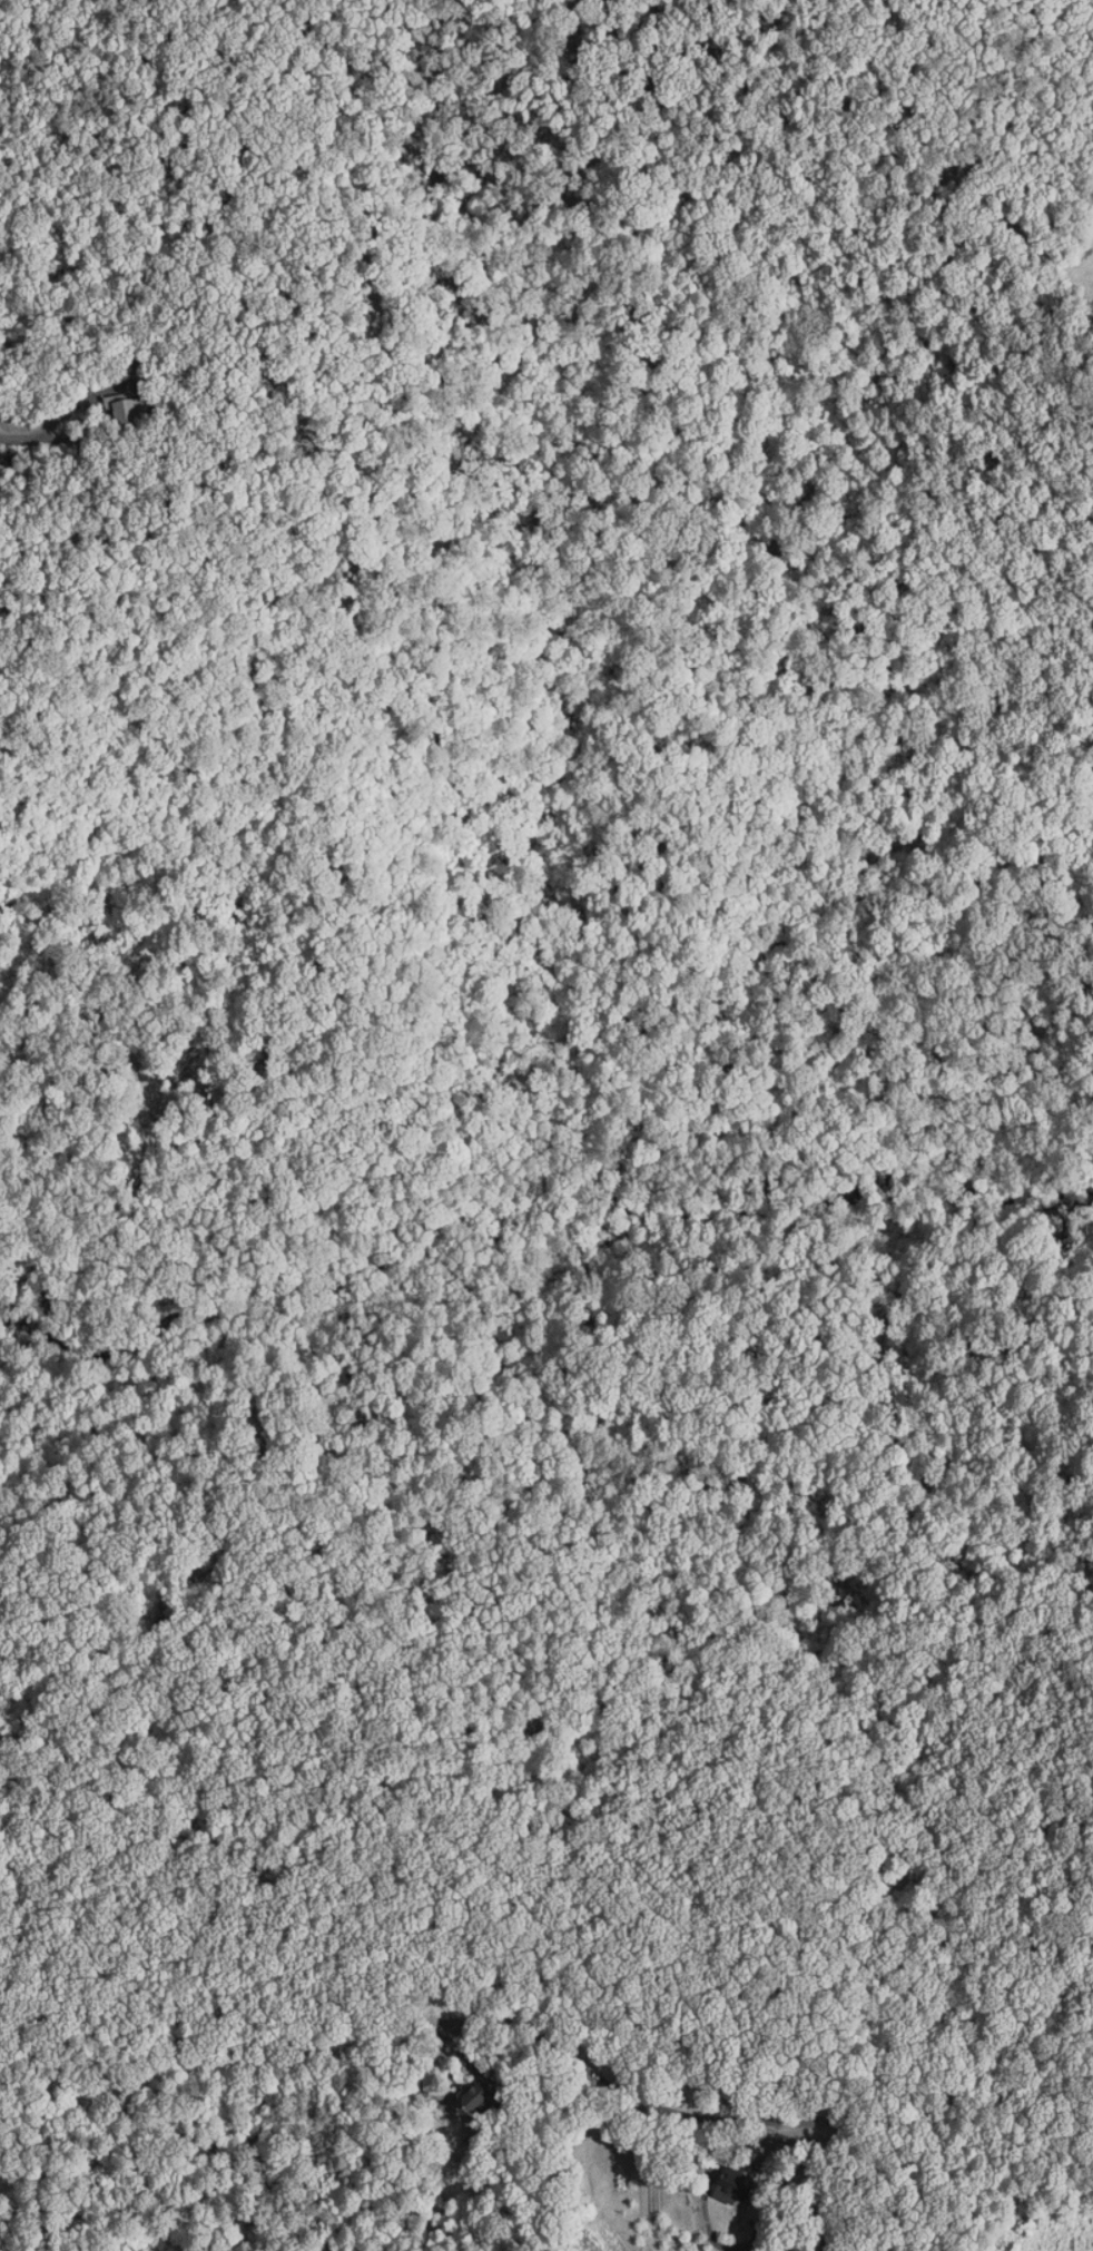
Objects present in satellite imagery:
road: (1063, 1993)
road: (525, 2021)
building: (484, 2100)
road: (784, 2172)
building: (738, 2186)

